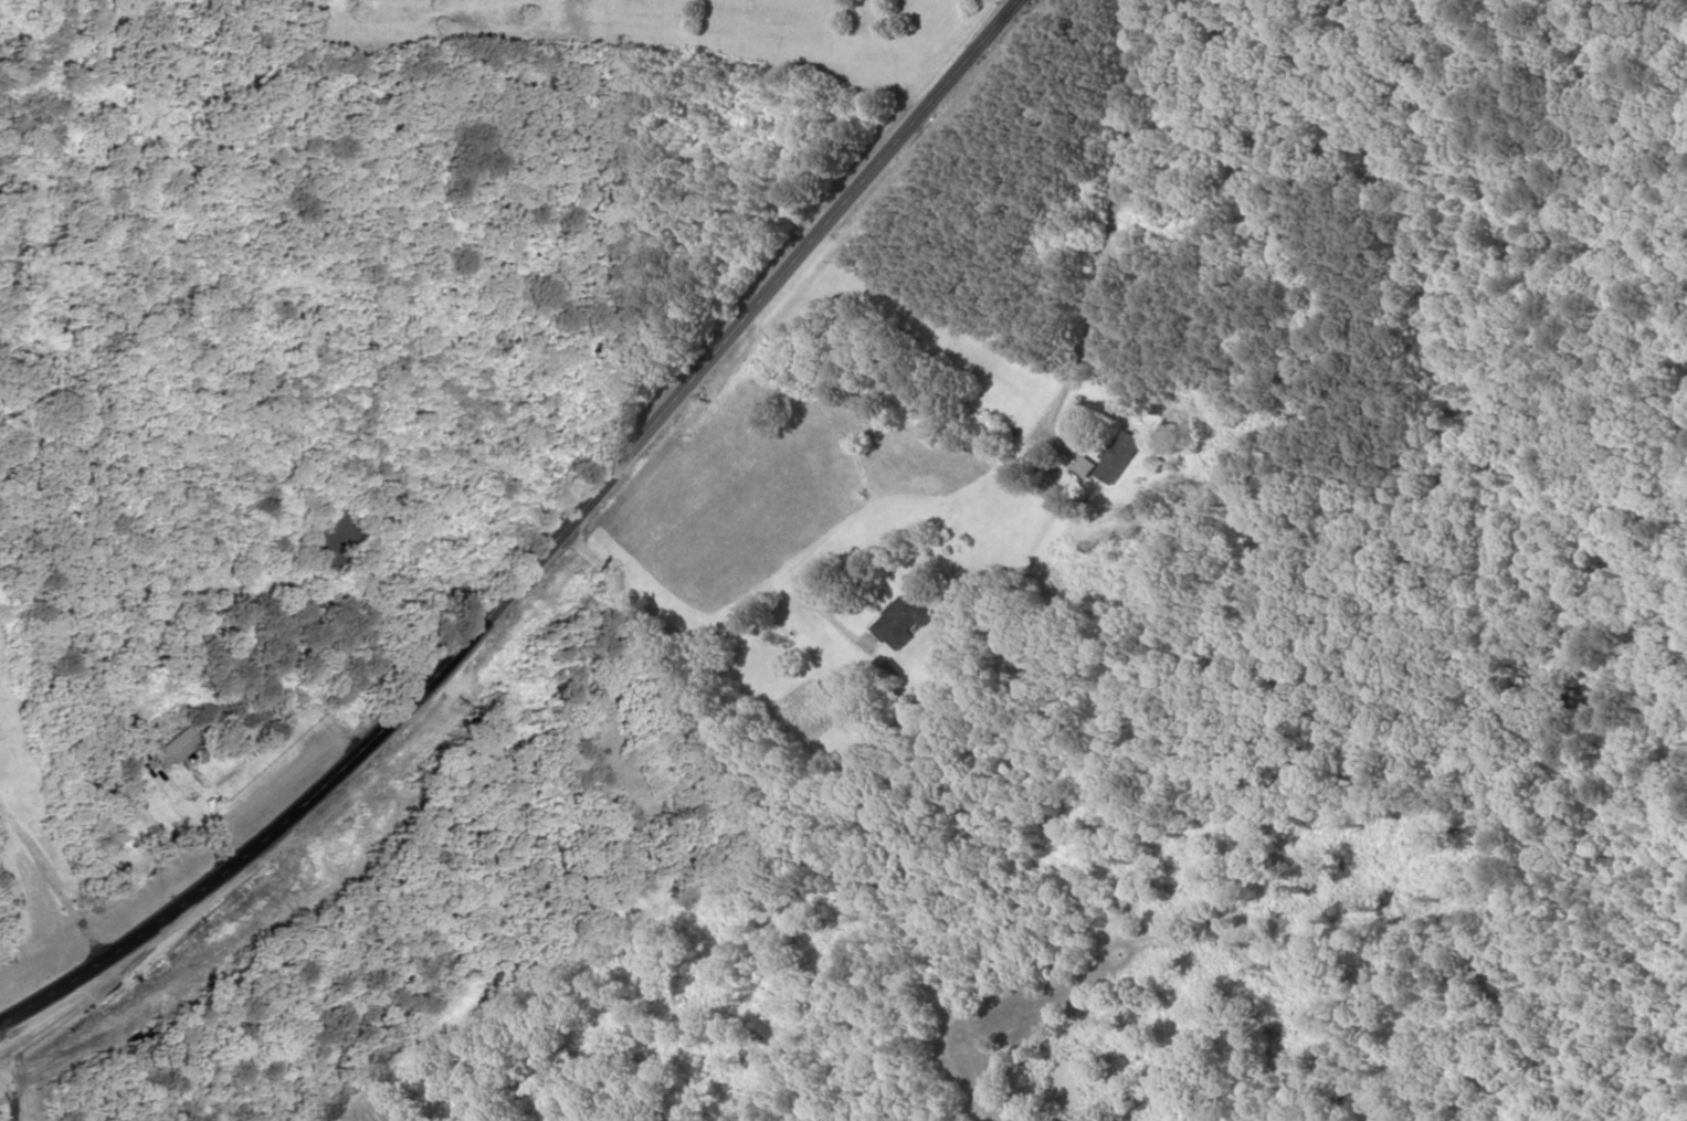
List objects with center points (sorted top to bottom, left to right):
road: (1119, 222)
building: (1120, 458)
road: (547, 551)
building: (905, 623)
road: (699, 638)

